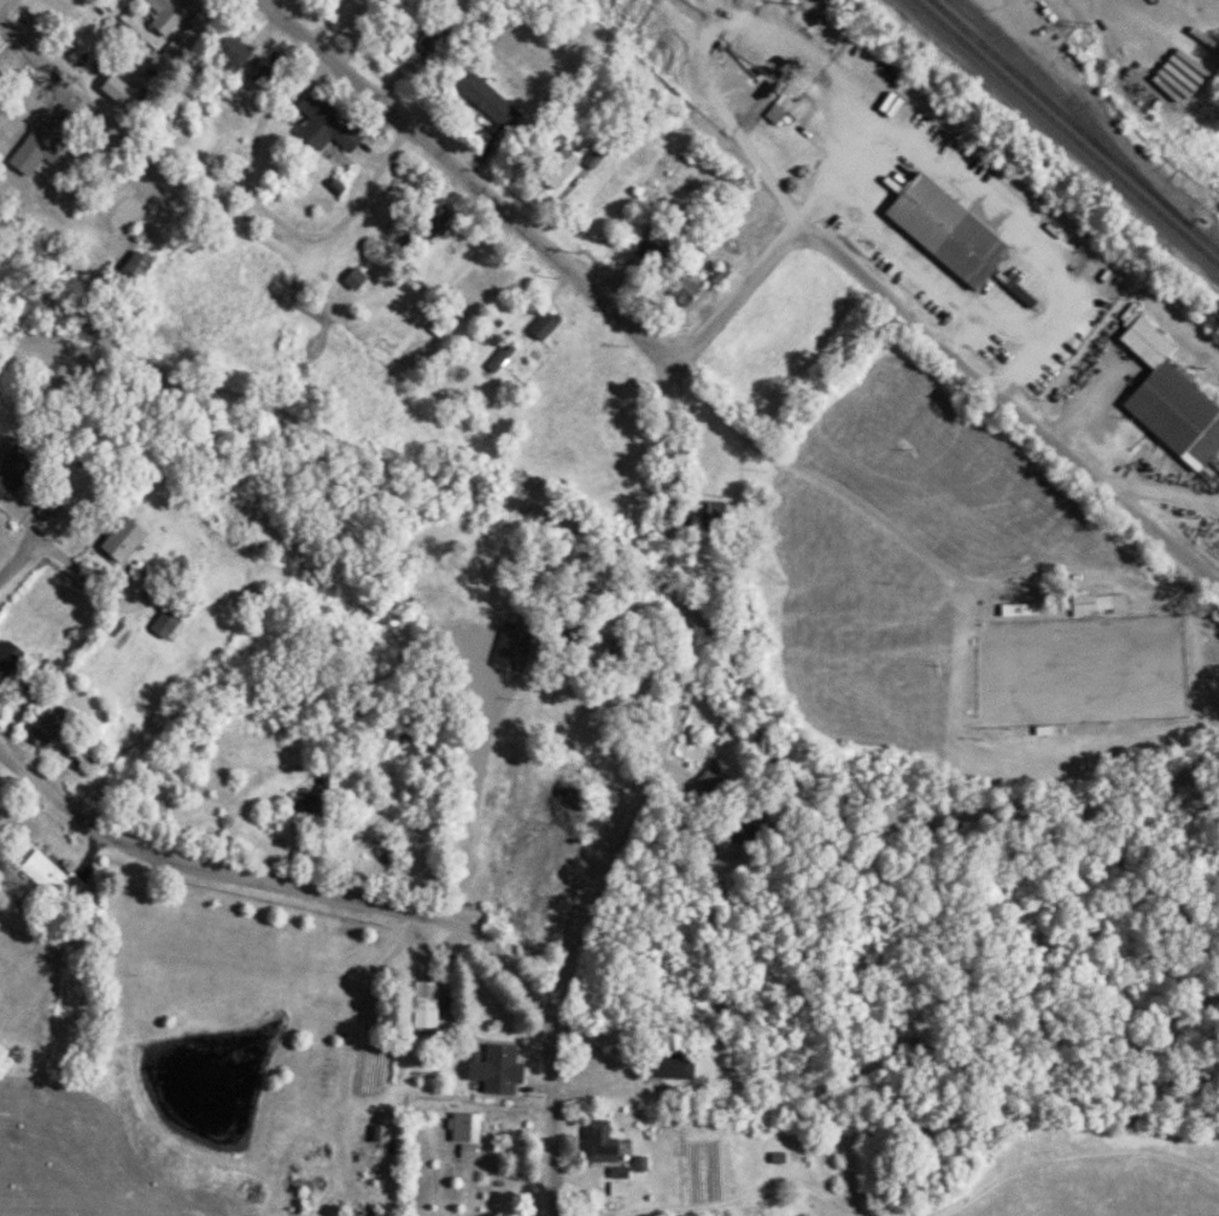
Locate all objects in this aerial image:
building: (169, 14)
building: (116, 90)
railway: (1062, 99)
building: (488, 105)
building: (786, 111)
building: (328, 125)
railway: (1073, 127)
railway: (1063, 135)
building: (36, 148)
road: (469, 180)
building: (944, 227)
building: (356, 281)
building: (484, 286)
road: (745, 289)
building: (688, 290)
building: (544, 327)
road: (676, 358)
building: (1167, 394)
road: (1010, 404)
building: (12, 462)
road: (667, 470)
building: (47, 497)
road: (896, 530)
building: (118, 535)
road: (12, 563)
road: (670, 591)
building: (1091, 599)
building: (1014, 605)
building: (164, 615)
building: (557, 623)
building: (509, 640)
building: (7, 651)
park: (1077, 666)
building: (48, 718)
building: (1039, 726)
building: (318, 805)
road: (619, 812)
building: (51, 874)
road: (376, 903)
building: (422, 998)
building: (492, 1063)
building: (666, 1063)
building: (462, 1122)
building: (594, 1138)
building: (619, 1189)
building: (358, 1215)

